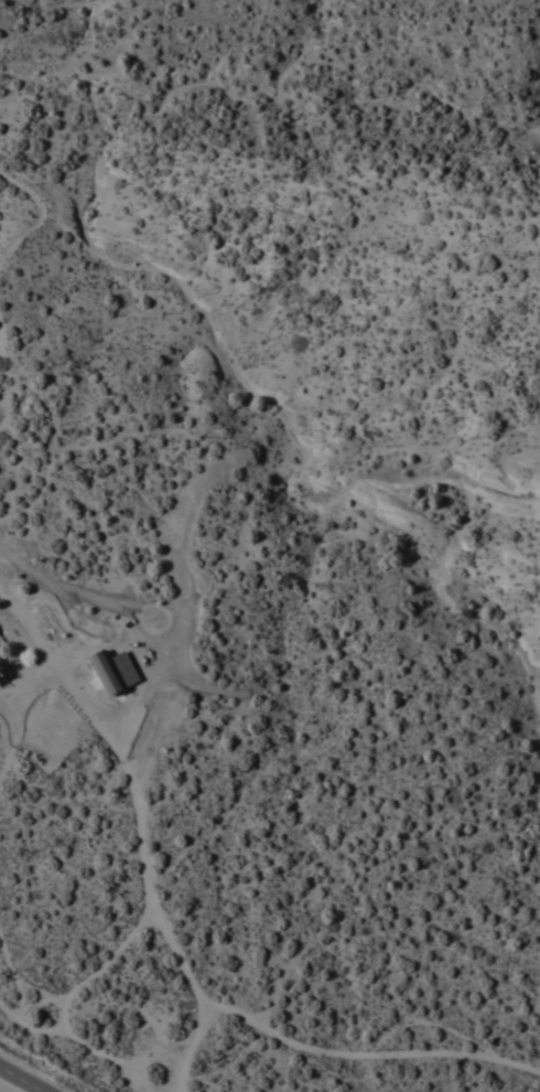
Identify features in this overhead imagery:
building: (0, 641)
building: (112, 670)
building: (3, 672)
road: (144, 822)
road: (25, 1077)

